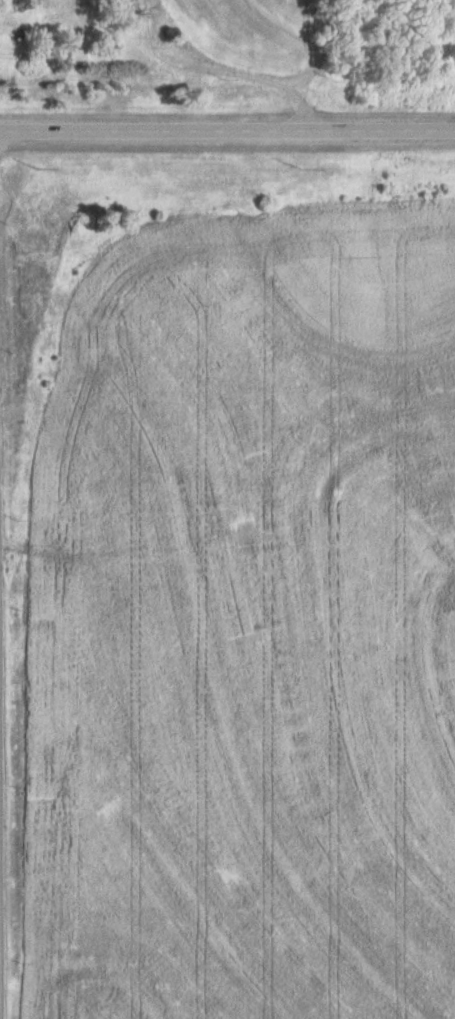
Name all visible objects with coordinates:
building: (72, 56)
road: (218, 72)
road: (227, 130)
road: (1, 919)

